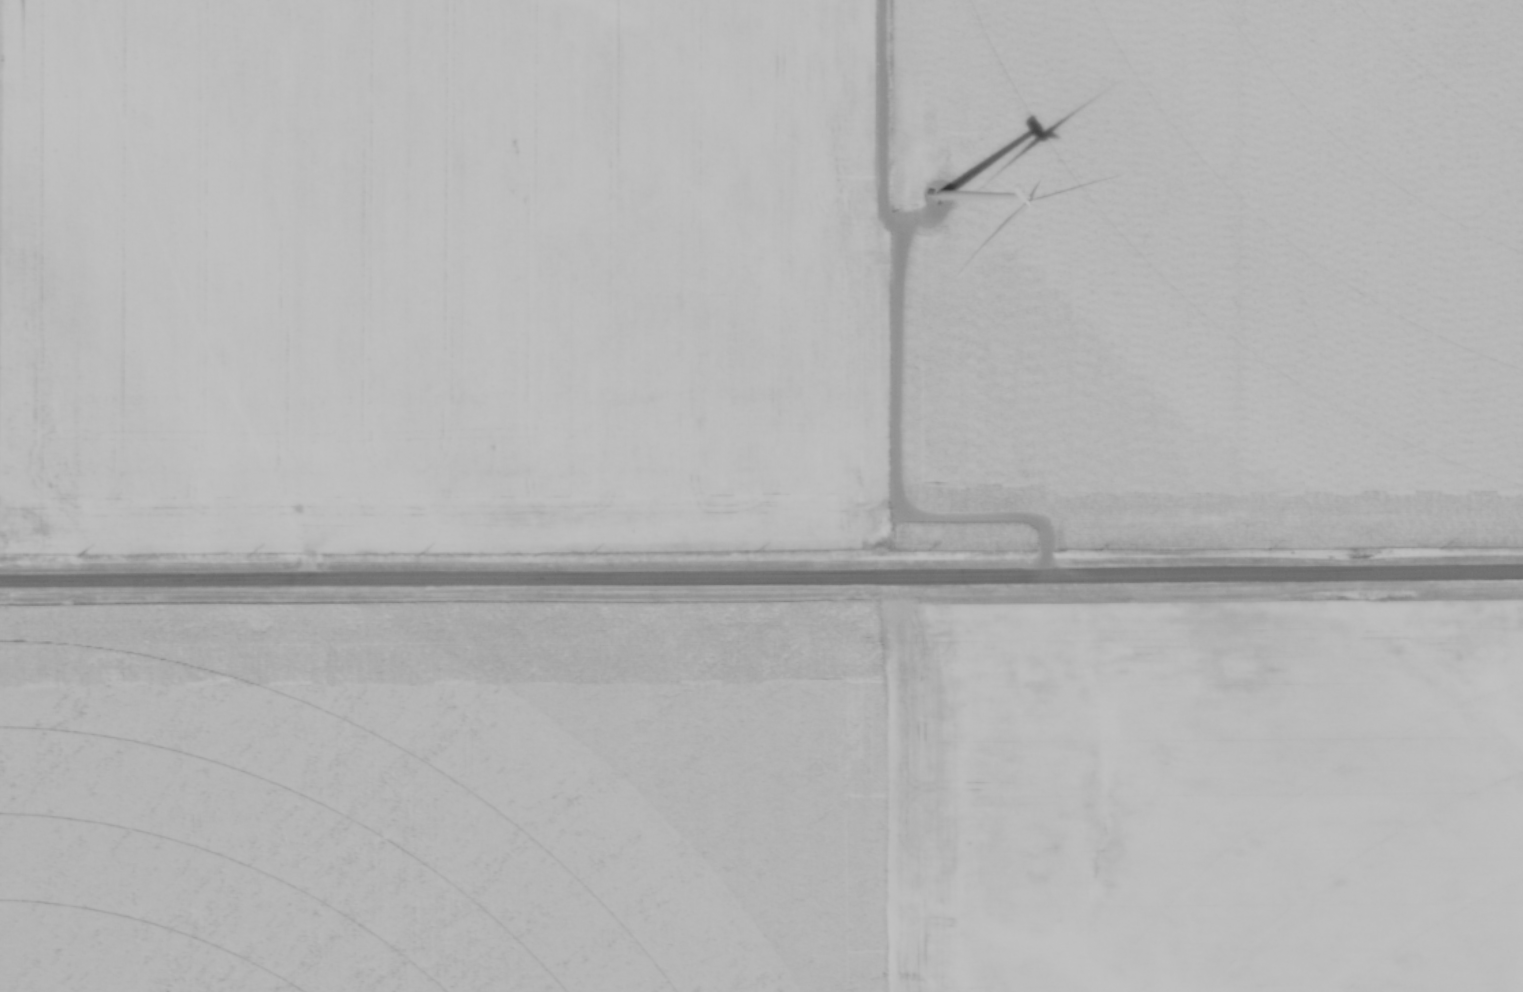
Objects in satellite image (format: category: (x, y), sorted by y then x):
wind turbine: (938, 195)
road: (893, 368)
road: (761, 585)

